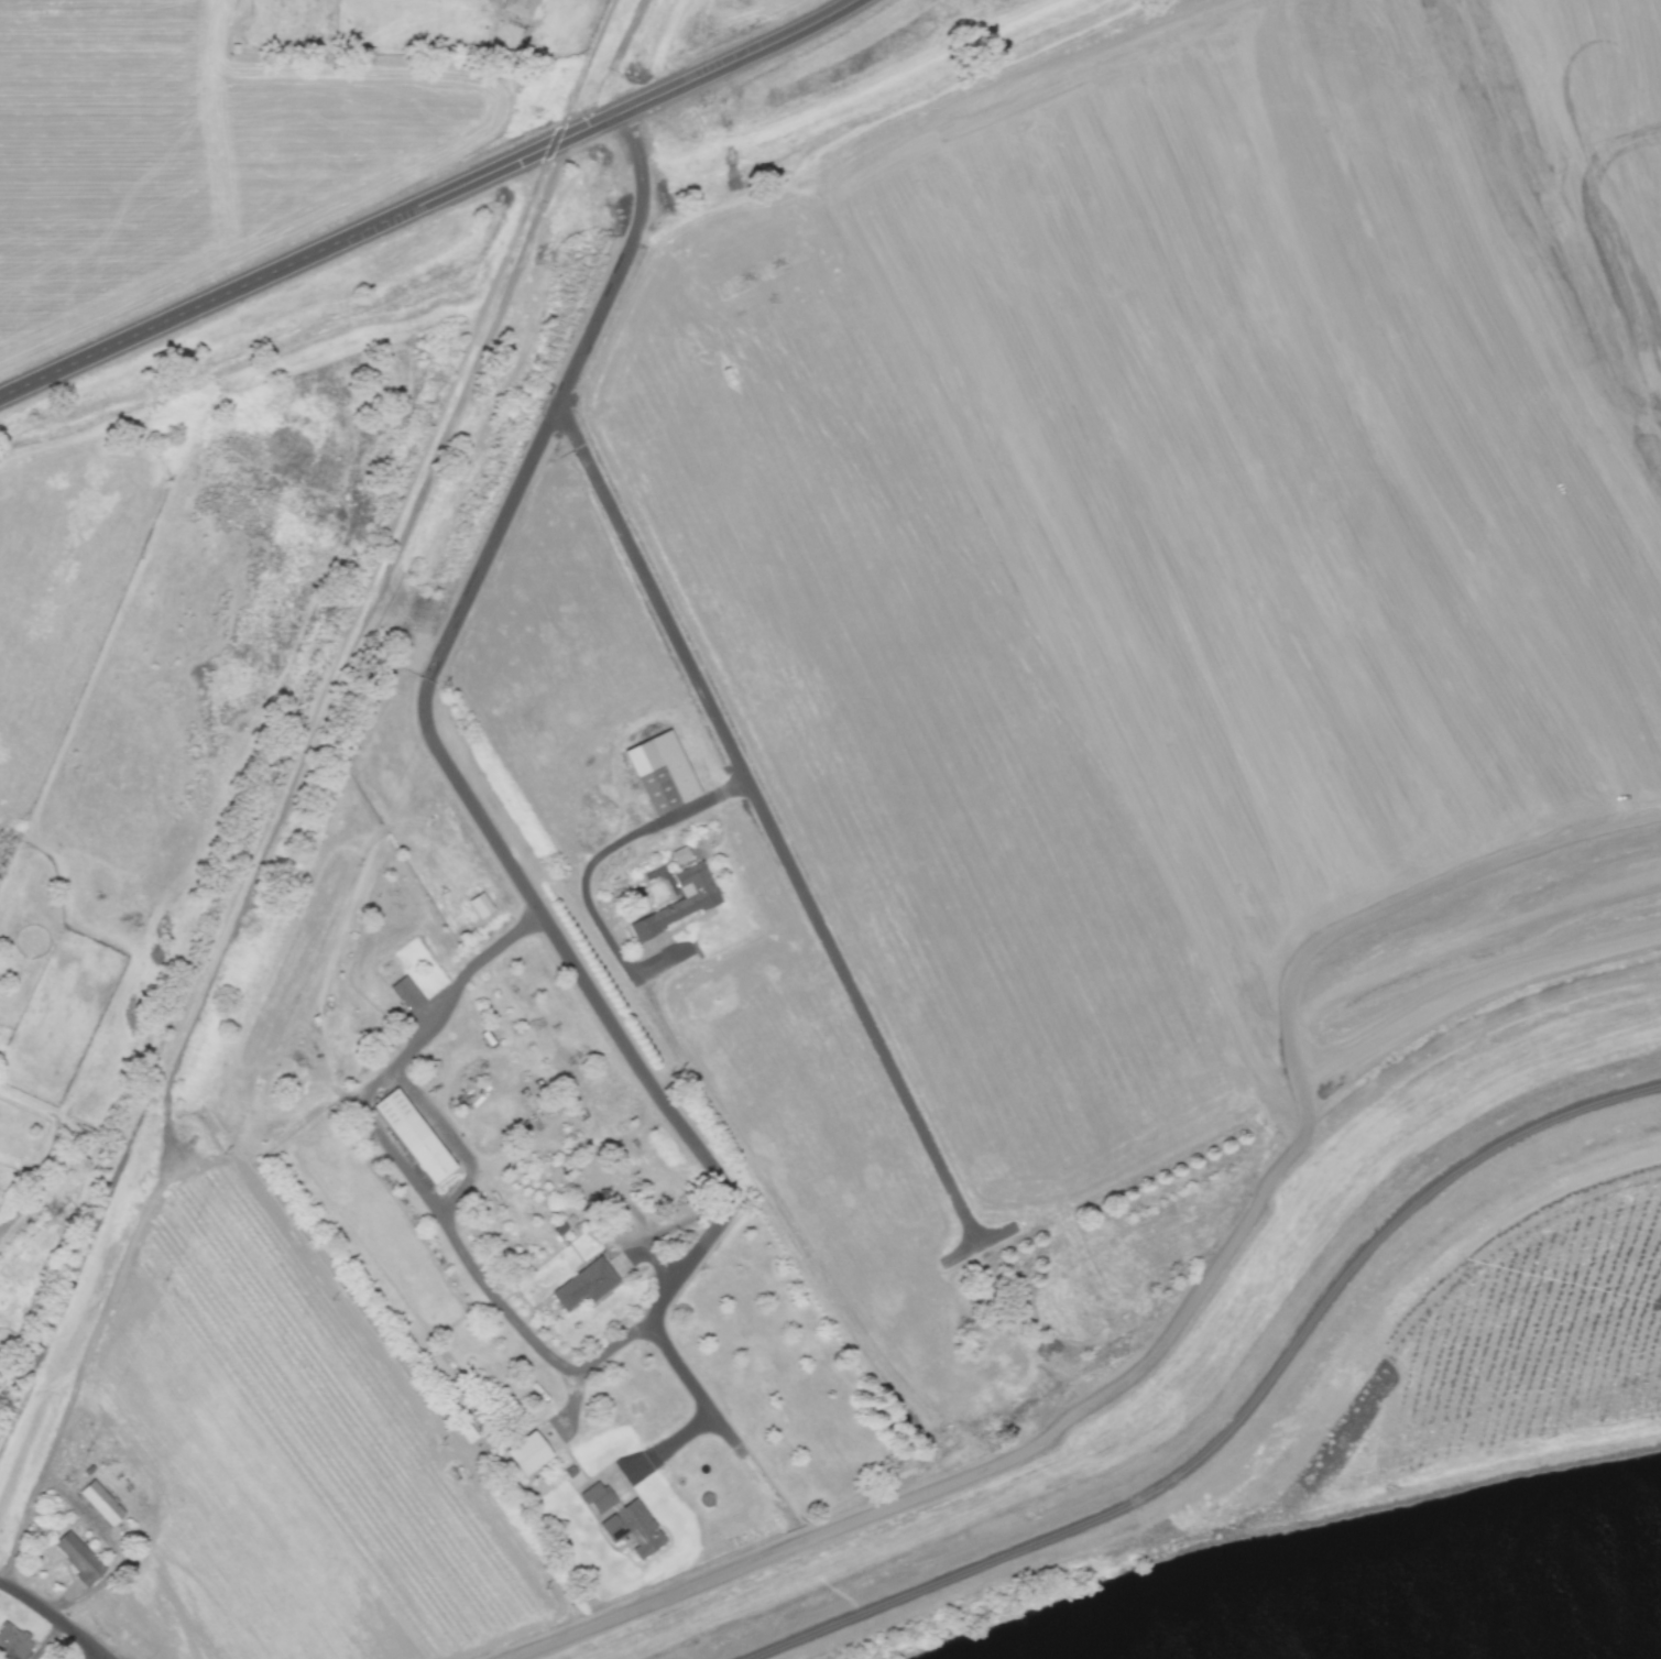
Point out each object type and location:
building: (518, 8)
road: (609, 68)
road: (711, 68)
crop: (339, 138)
crop: (102, 162)
road: (284, 263)
road: (568, 425)
crop: (1161, 636)
road: (306, 760)
building: (659, 768)
road: (455, 792)
road: (287, 794)
road: (777, 847)
building: (679, 854)
road: (586, 869)
building: (678, 899)
building: (479, 904)
building: (405, 993)
road: (427, 1030)
building: (414, 1134)
road: (50, 1149)
road: (809, 1255)
building: (583, 1283)
road: (511, 1314)
flagpole: (641, 1345)
road: (679, 1436)
building: (528, 1452)
crop: (266, 1461)
road: (1191, 1489)
building: (595, 1496)
building: (100, 1502)
road: (79, 1505)
building: (632, 1527)
road: (999, 1543)
road: (822, 1556)
building: (78, 1558)
road: (747, 1602)
road: (54, 1619)
road: (45, 1640)
building: (13, 1642)

